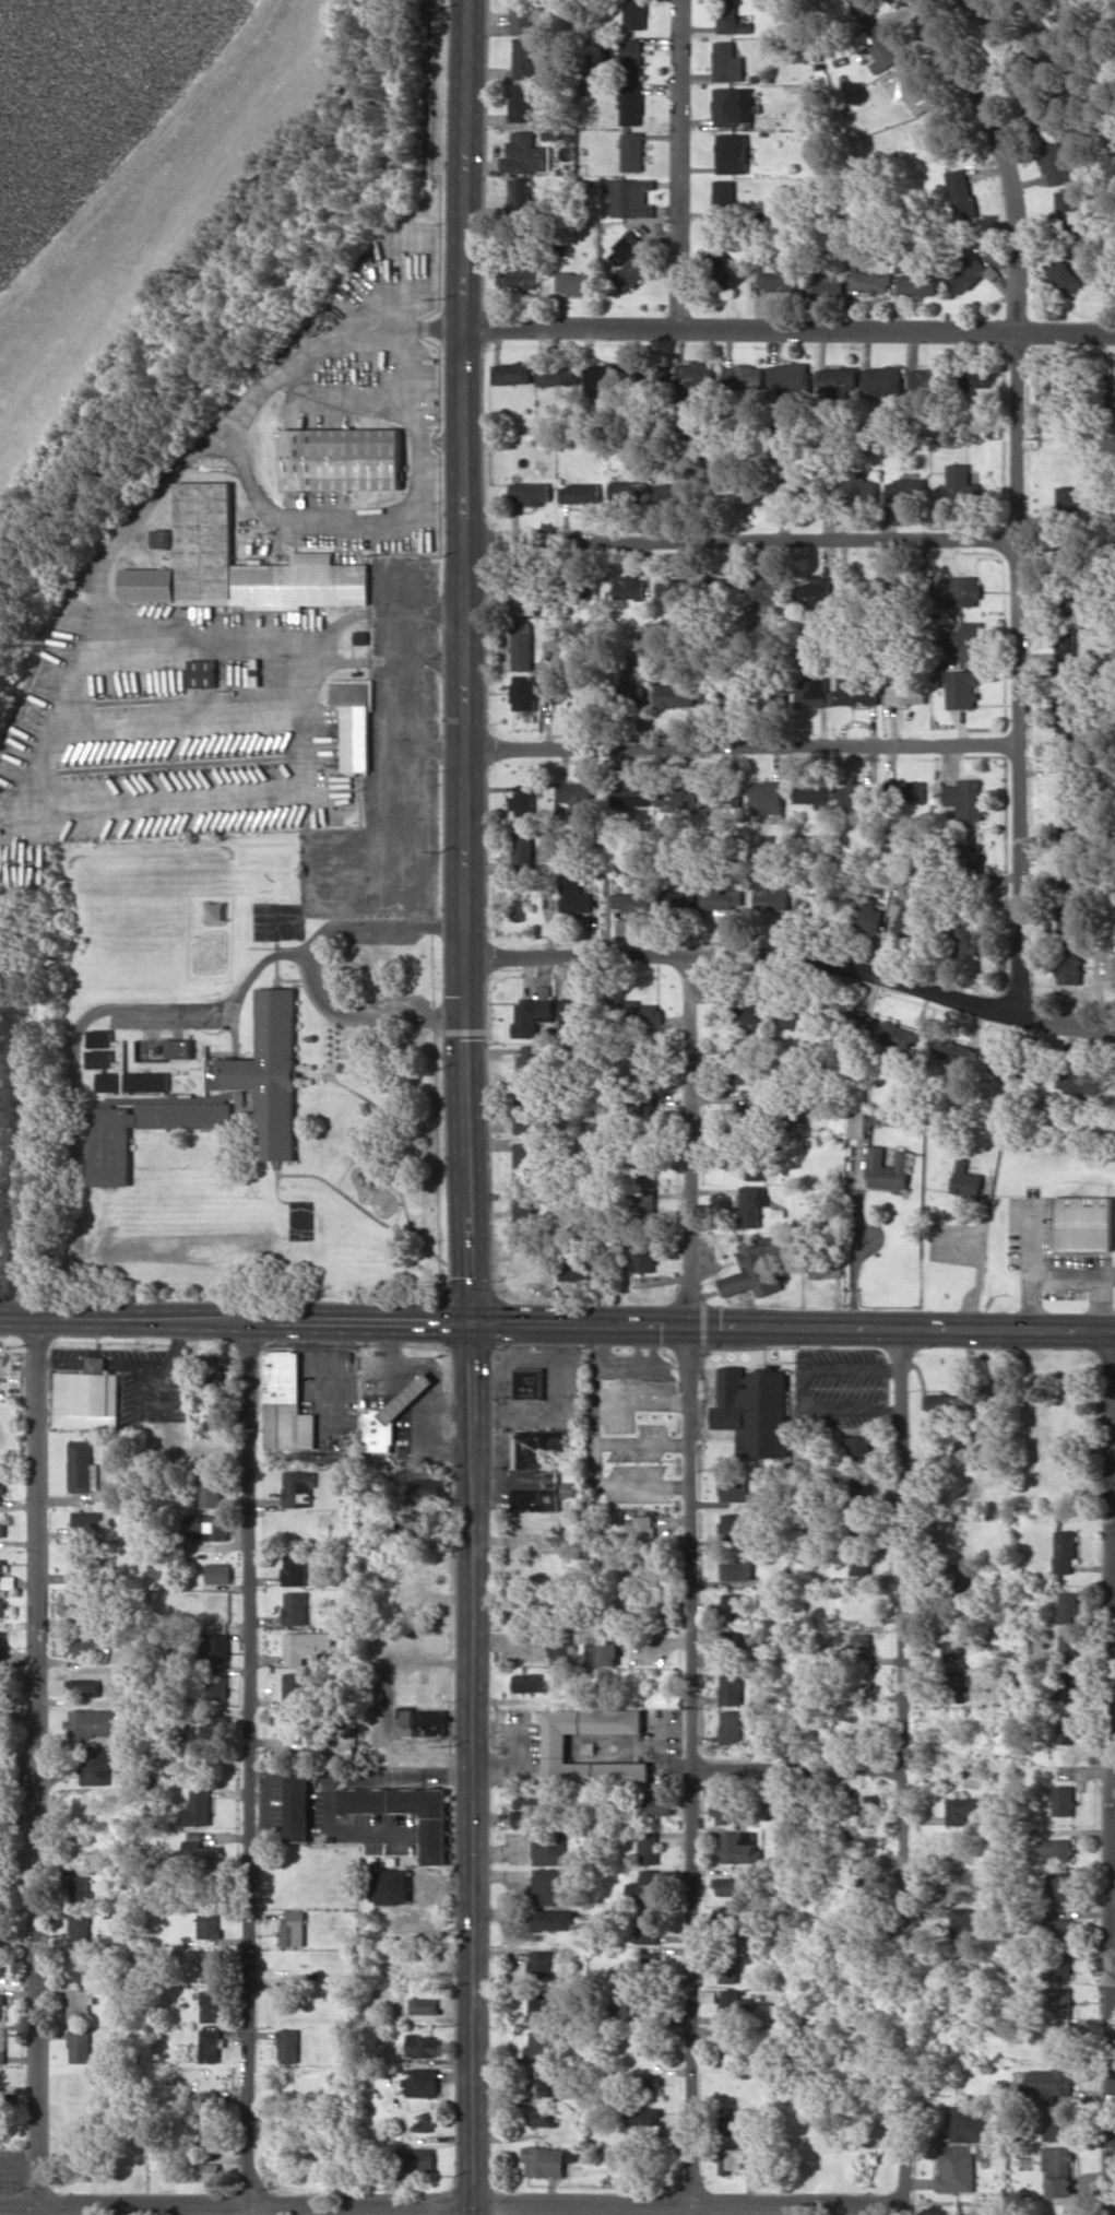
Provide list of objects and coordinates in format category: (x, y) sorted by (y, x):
building: (1114, 0)
building: (981, 13)
building: (636, 14)
building: (525, 15)
building: (733, 20)
building: (881, 47)
building: (525, 58)
building: (632, 58)
building: (728, 62)
building: (910, 90)
building: (522, 103)
building: (632, 104)
building: (735, 106)
building: (633, 151)
building: (734, 153)
building: (526, 154)
building: (1055, 158)
road: (680, 163)
building: (961, 193)
building: (521, 197)
building: (630, 197)
building: (726, 198)
building: (1067, 212)
building: (630, 262)
building: (725, 268)
building: (970, 273)
building: (779, 274)
building: (1064, 274)
building: (526, 278)
building: (869, 280)
building: (578, 282)
building: (827, 284)
building: (916, 284)
road: (790, 328)
building: (514, 373)
building: (554, 374)
building: (604, 374)
building: (746, 377)
building: (927, 377)
building: (791, 378)
building: (976, 378)
building: (885, 380)
building: (698, 381)
building: (1060, 391)
building: (1110, 391)
building: (344, 459)
building: (962, 483)
building: (858, 487)
building: (909, 488)
building: (649, 491)
building: (532, 492)
building: (720, 492)
building: (581, 493)
building: (817, 494)
building: (762, 496)
road: (1016, 497)
building: (1068, 497)
building: (206, 517)
building: (162, 538)
road: (739, 540)
building: (1069, 552)
building: (149, 585)
building: (629, 587)
building: (721, 587)
building: (674, 588)
building: (768, 588)
building: (815, 588)
building: (963, 591)
building: (524, 599)
building: (549, 631)
road: (216, 632)
building: (361, 637)
building: (964, 640)
building: (1070, 645)
building: (522, 646)
road: (464, 661)
building: (203, 673)
building: (632, 690)
building: (858, 690)
building: (963, 690)
building: (1067, 690)
building: (525, 692)
building: (815, 692)
building: (719, 693)
building: (908, 693)
building: (675, 695)
building: (356, 721)
building: (1069, 732)
road: (742, 745)
building: (1070, 779)
building: (909, 792)
building: (817, 793)
building: (577, 794)
building: (634, 794)
building: (856, 794)
building: (768, 797)
building: (715, 798)
building: (968, 799)
building: (524, 800)
building: (677, 801)
building: (524, 848)
building: (973, 863)
building: (573, 893)
building: (772, 894)
building: (677, 897)
building: (630, 902)
building: (864, 912)
building: (902, 915)
building: (1069, 921)
road: (384, 928)
building: (968, 936)
road: (794, 959)
building: (1069, 965)
building: (570, 1011)
building: (639, 1012)
building: (533, 1014)
road: (372, 1015)
building: (749, 1015)
building: (802, 1018)
building: (863, 1023)
building: (901, 1037)
road: (76, 1038)
building: (99, 1038)
building: (178, 1048)
building: (954, 1050)
building: (99, 1058)
building: (530, 1064)
building: (745, 1064)
building: (1011, 1068)
building: (268, 1073)
building: (108, 1081)
building: (146, 1081)
building: (1079, 1082)
building: (755, 1109)
building: (525, 1114)
building: (858, 1123)
building: (110, 1156)
building: (755, 1165)
building: (640, 1167)
building: (887, 1169)
building: (968, 1179)
building: (525, 1180)
building: (751, 1205)
building: (642, 1209)
building: (1086, 1223)
building: (642, 1253)
building: (756, 1266)
building: (579, 1268)
building: (828, 1269)
road: (557, 1323)
building: (97, 1364)
building: (530, 1383)
road: (1114, 1386)
building: (87, 1400)
building: (287, 1402)
building: (942, 1404)
building: (755, 1410)
building: (392, 1415)
building: (857, 1448)
building: (82, 1466)
building: (535, 1470)
building: (863, 1484)
building: (299, 1487)
building: (733, 1487)
building: (211, 1488)
building: (428, 1488)
building: (1, 1491)
building: (418, 1521)
building: (86, 1522)
building: (207, 1527)
building: (731, 1527)
building: (2, 1528)
building: (640, 1530)
building: (1065, 1551)
building: (861, 1560)
building: (735, 1566)
building: (295, 1568)
building: (2, 1569)
building: (220, 1572)
road: (691, 1587)
building: (732, 1605)
building: (84, 1607)
building: (220, 1607)
building: (295, 1607)
building: (1067, 1607)
building: (2, 1609)
building: (861, 1642)
building: (951, 1642)
building: (306, 1646)
building: (85, 1647)
building: (218, 1647)
building: (564, 1647)
building: (607, 1647)
building: (728, 1647)
building: (1069, 1647)
building: (2, 1648)
building: (529, 1682)
building: (217, 1684)
building: (294, 1685)
building: (1066, 1685)
building: (953, 1686)
building: (84, 1687)
building: (730, 1687)
building: (3, 1697)
building: (422, 1721)
building: (94, 1722)
building: (297, 1722)
building: (1, 1724)
building: (1068, 1725)
building: (730, 1728)
building: (337, 1740)
building: (556, 1747)
road: (668, 1752)
road: (38, 1766)
road: (498, 1766)
building: (95, 1767)
road: (251, 1767)
road: (472, 1768)
road: (903, 1771)
road: (797, 1772)
building: (1063, 1800)
building: (875, 1803)
building: (660, 1805)
building: (774, 1807)
building: (199, 1808)
building: (298, 1808)
building: (724, 1810)
building: (962, 1810)
building: (527, 1811)
building: (406, 1812)
building: (649, 1845)
building: (549, 1846)
building: (737, 1847)
building: (1056, 1848)
building: (199, 1853)
building: (962, 1885)
building: (391, 1886)
building: (549, 1886)
building: (730, 1886)
building: (1059, 1886)
building: (80, 1888)
building: (554, 1919)
building: (2, 1923)
building: (209, 1923)
building: (962, 1924)
building: (80, 1925)
building: (645, 1925)
building: (294, 1927)
building: (1059, 1931)
building: (541, 1964)
building: (645, 1964)
building: (4, 1965)
building: (81, 1965)
building: (210, 1966)
building: (1058, 1967)
building: (728, 1975)
building: (625, 2004)
building: (80, 2005)
building: (210, 2005)
building: (424, 2005)
building: (542, 2005)
building: (1060, 2005)
building: (2, 2006)
building: (731, 2006)
building: (538, 2045)
building: (2, 2046)
building: (80, 2046)
building: (210, 2046)
building: (288, 2046)
building: (424, 2046)
building: (649, 2046)
building: (731, 2046)
building: (423, 2082)
building: (649, 2083)
building: (1049, 2083)
building: (538, 2084)
building: (542, 2117)
building: (644, 2118)
building: (425, 2122)
building: (968, 2123)
building: (735, 2124)
building: (1059, 2126)
building: (202, 2140)
building: (415, 2159)
building: (732, 2159)
building: (545, 2161)
building: (956, 2168)
building: (1058, 2171)
road: (450, 2206)

